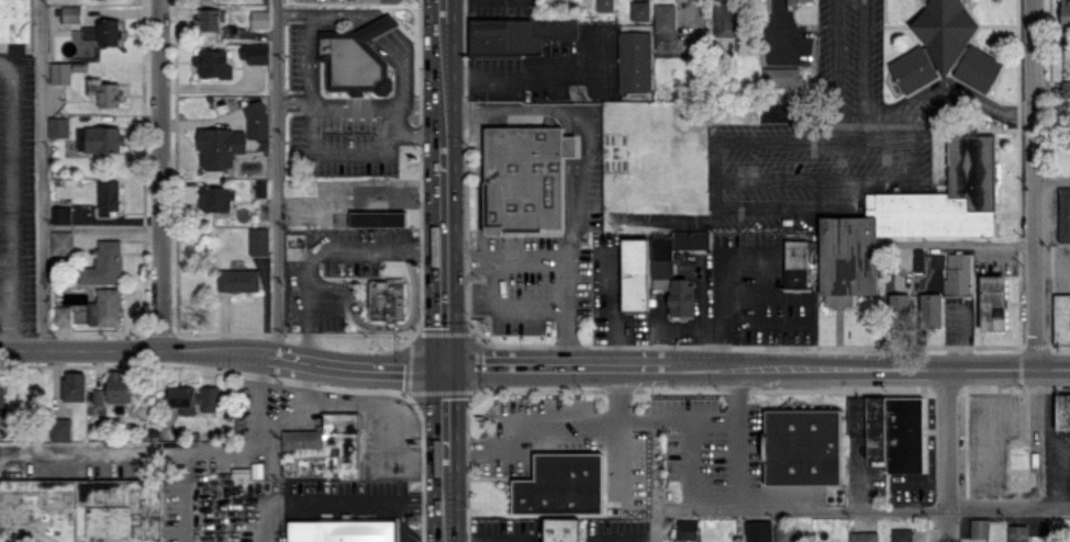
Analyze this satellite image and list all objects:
building: (208, 0)
building: (800, 1)
building: (604, 5)
building: (639, 10)
road: (293, 11)
road: (439, 11)
building: (1065, 11)
building: (70, 13)
building: (665, 18)
building: (208, 19)
building: (259, 19)
building: (13, 21)
building: (109, 32)
building: (89, 33)
building: (516, 34)
building: (955, 43)
building: (254, 53)
building: (356, 58)
road: (311, 59)
building: (634, 60)
road: (833, 61)
road: (859, 63)
building: (213, 64)
building: (912, 70)
building: (60, 72)
building: (780, 76)
road: (441, 79)
building: (1065, 89)
road: (930, 91)
building: (104, 92)
road: (367, 106)
building: (58, 126)
building: (232, 137)
building: (99, 138)
road: (336, 154)
road: (583, 171)
road: (42, 174)
road: (160, 174)
road: (275, 177)
building: (525, 177)
road: (1052, 181)
road: (1036, 184)
building: (108, 197)
building: (215, 199)
road: (11, 203)
building: (60, 214)
building: (1063, 214)
building: (377, 218)
building: (907, 219)
building: (259, 240)
building: (62, 241)
road: (967, 242)
road: (323, 249)
road: (443, 252)
road: (466, 252)
road: (5, 258)
road: (503, 259)
building: (918, 259)
building: (794, 263)
building: (103, 264)
building: (661, 268)
building: (634, 273)
building: (957, 273)
building: (238, 280)
road: (331, 284)
building: (680, 296)
building: (387, 298)
building: (992, 302)
road: (5, 306)
building: (105, 307)
building: (898, 307)
road: (510, 309)
building: (930, 309)
building: (62, 315)
building: (1061, 318)
road: (409, 320)
road: (222, 351)
traffic signals: (444, 366)
road: (556, 366)
road: (869, 370)
building: (74, 385)
building: (119, 388)
building: (2, 394)
building: (98, 396)
building: (193, 398)
building: (1062, 410)
road: (302, 411)
road: (444, 418)
road: (387, 420)
road: (677, 421)
road: (525, 427)
building: (60, 428)
road: (416, 428)
building: (889, 430)
road: (615, 437)
road: (738, 438)
road: (1055, 439)
building: (801, 445)
building: (324, 448)
road: (175, 454)
road: (950, 456)
road: (692, 464)
building: (560, 484)
road: (339, 505)
road: (446, 506)
road: (863, 508)
building: (80, 510)
road: (402, 522)
road: (657, 524)
building: (979, 528)
building: (687, 529)
building: (561, 530)
building: (758, 530)
building: (342, 531)
building: (1017, 532)
building: (901, 534)
building: (863, 537)
road: (488, 540)

